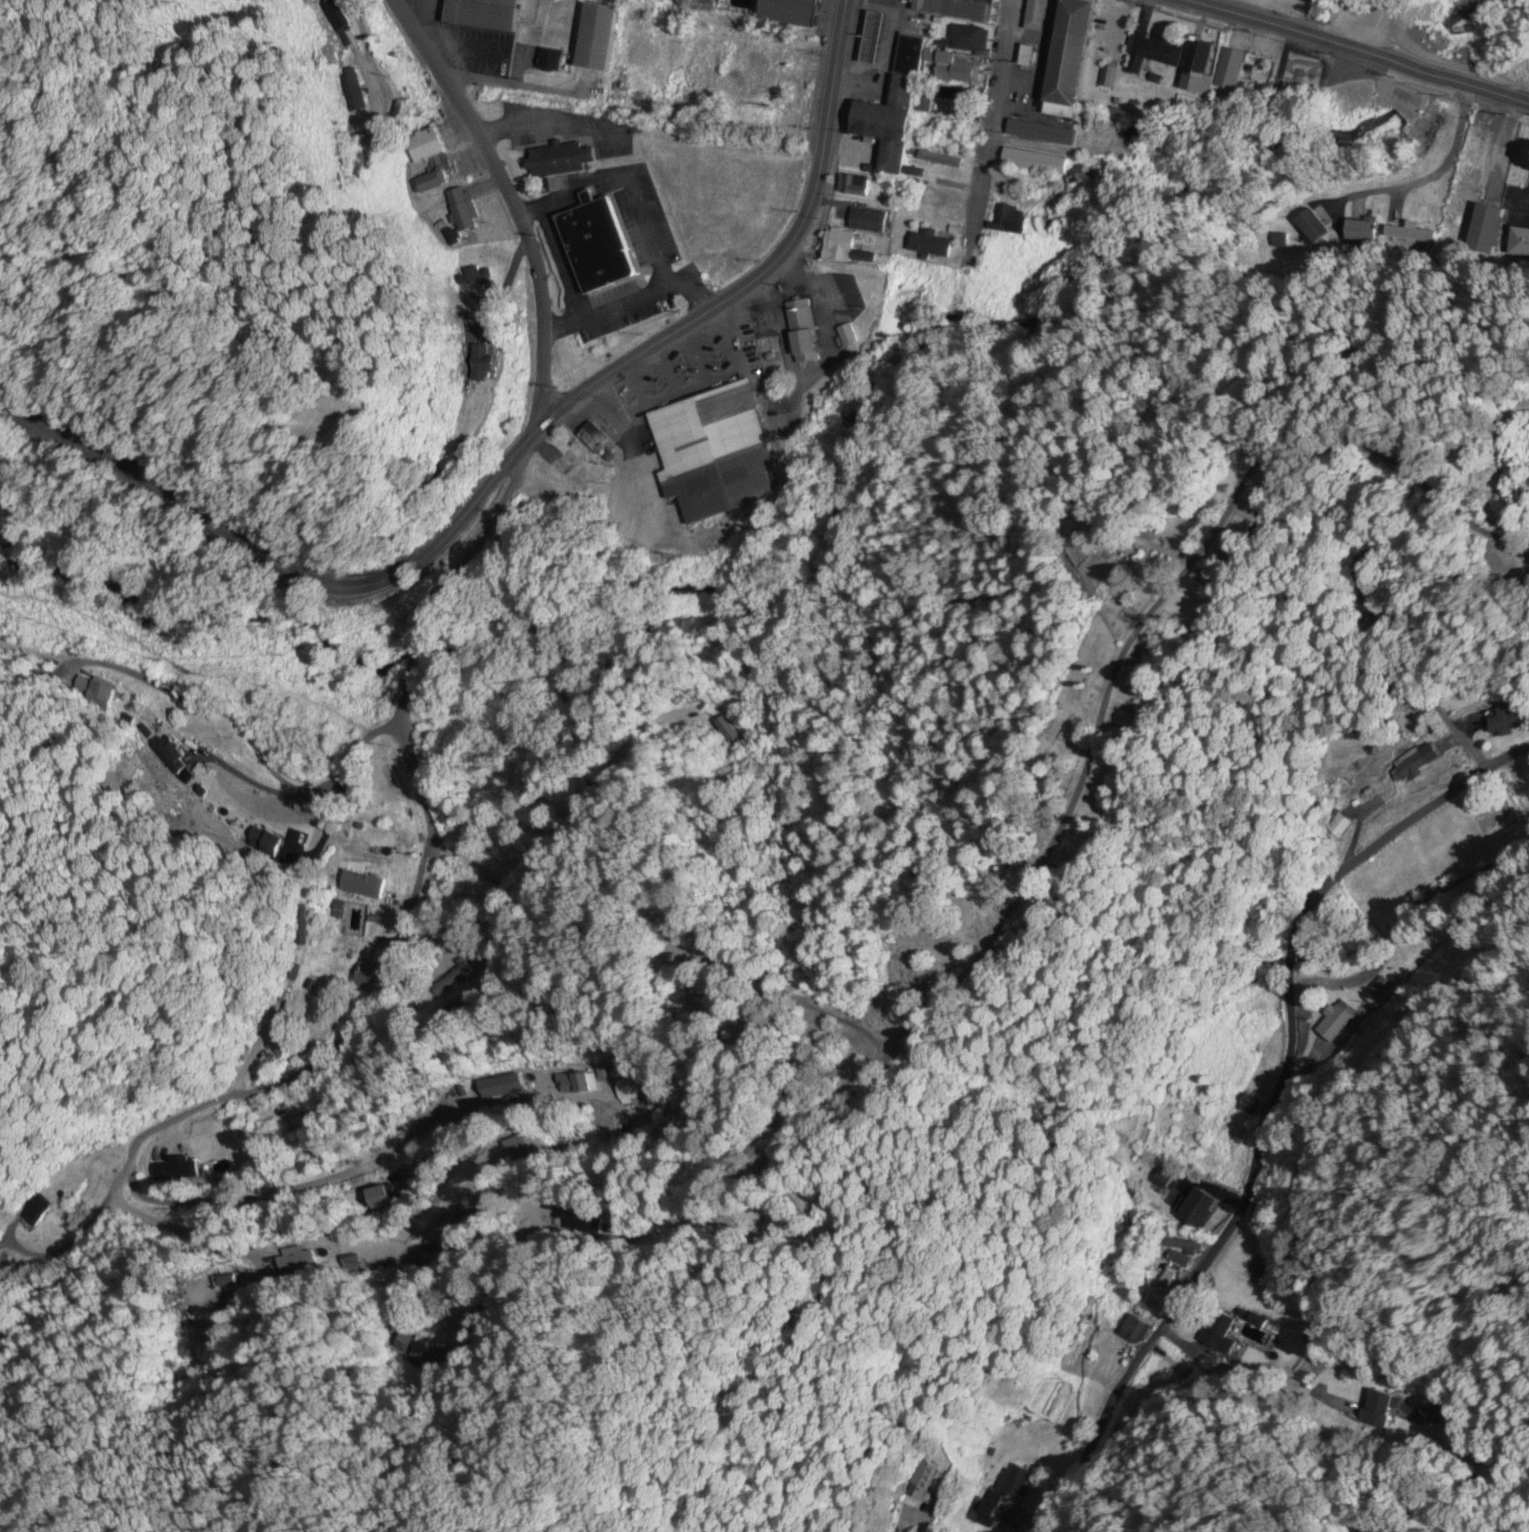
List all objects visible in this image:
building: (956, 8)
building: (791, 11)
building: (482, 14)
building: (1035, 15)
building: (871, 39)
gas station: (871, 39)
building: (964, 40)
road: (1358, 51)
building: (1151, 54)
building: (909, 56)
building: (1025, 57)
building: (1067, 59)
building: (549, 61)
building: (1196, 65)
building: (949, 67)
building: (1225, 67)
building: (745, 75)
building: (1106, 77)
road: (991, 123)
building: (1039, 132)
building: (955, 134)
road: (1037, 147)
building: (428, 161)
building: (558, 161)
building: (1033, 161)
building: (359, 164)
road: (1437, 172)
building: (852, 186)
road: (507, 203)
building: (461, 210)
building: (867, 221)
building: (1010, 221)
building: (1487, 223)
building: (1311, 227)
building: (1361, 232)
building: (475, 239)
building: (1518, 244)
building: (929, 245)
building: (595, 247)
building: (844, 249)
building: (800, 332)
building: (477, 364)
road: (357, 386)
building: (595, 439)
building: (719, 451)
road: (514, 456)
building: (573, 464)
road: (1227, 512)
road: (452, 576)
building: (1506, 726)
road: (244, 735)
building: (1413, 764)
building: (1335, 828)
building: (465, 883)
building: (452, 980)
building: (1378, 993)
road: (373, 1003)
building: (1333, 1020)
building: (270, 1044)
building: (501, 1085)
building: (626, 1089)
building: (1245, 1108)
road: (1267, 1110)
building: (425, 1116)
building: (295, 1122)
building: (518, 1147)
building: (169, 1171)
road: (284, 1191)
building: (377, 1198)
building: (1194, 1209)
building: (1179, 1260)
building: (296, 1262)
building: (227, 1282)
building: (1158, 1292)
building: (1132, 1332)
building: (1221, 1333)
building: (1377, 1408)
building: (921, 1480)
building: (1015, 1482)

